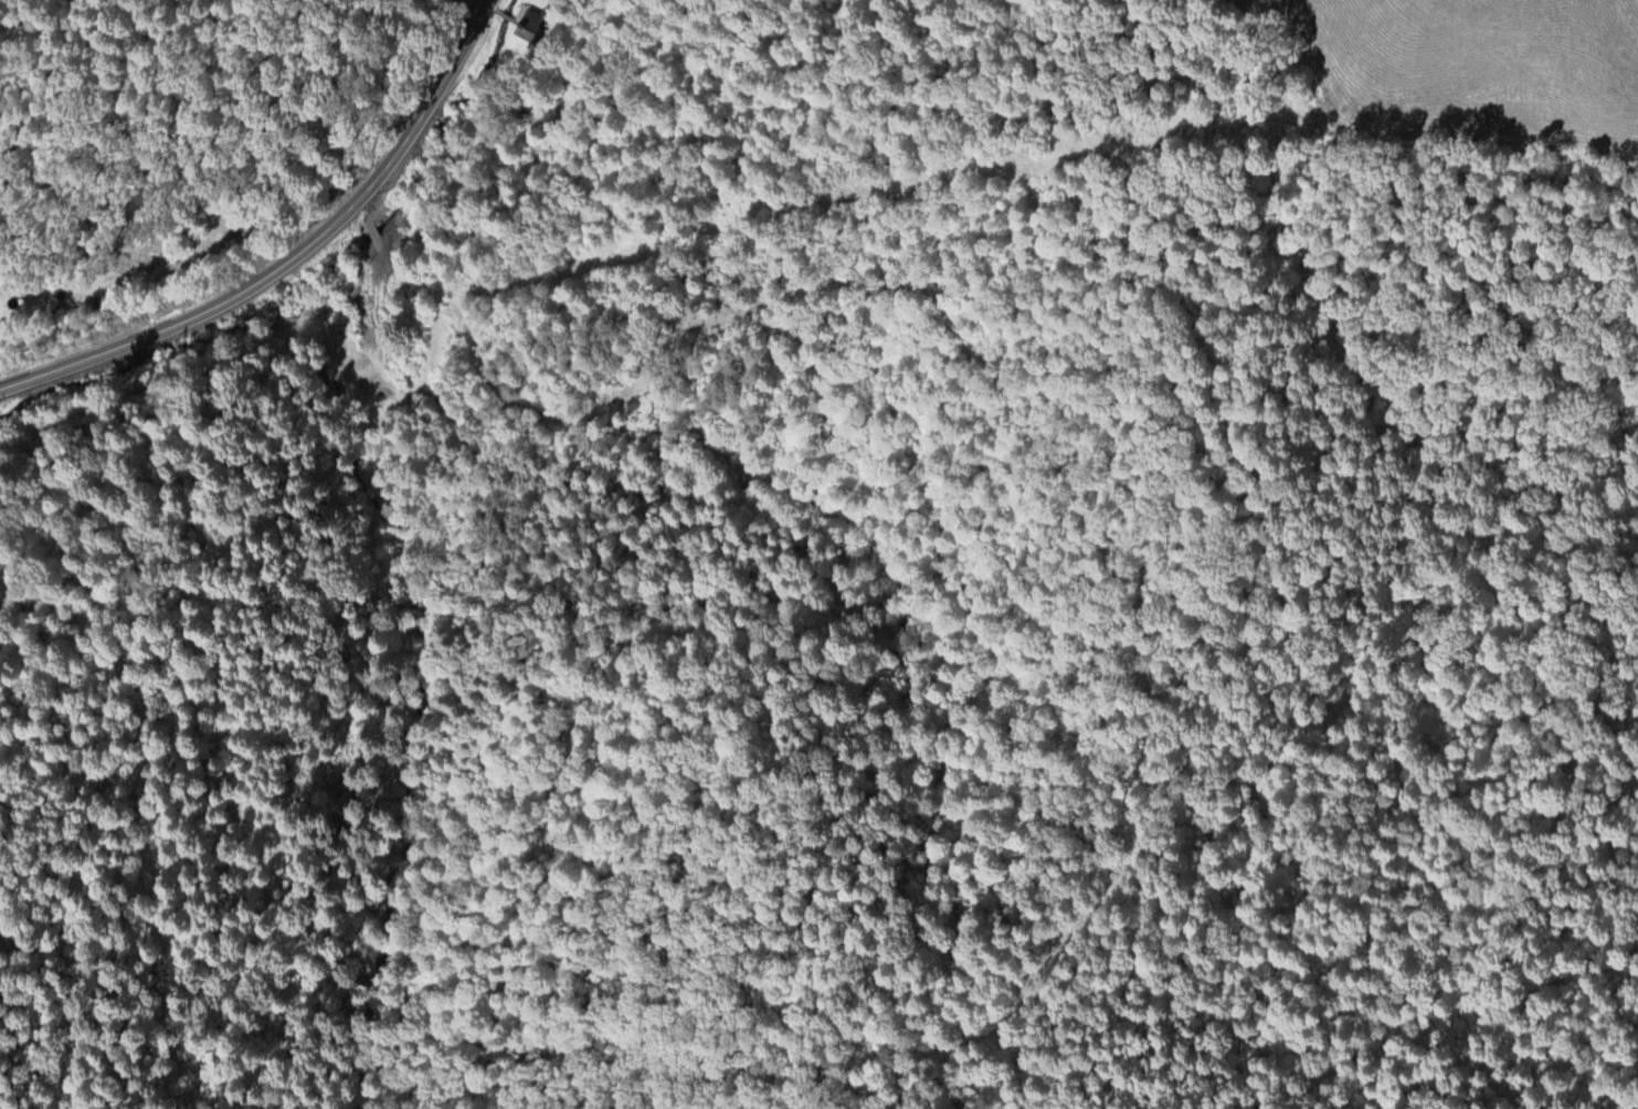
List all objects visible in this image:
parking lot: (468, 19)
building: (528, 28)
road: (1310, 80)
road: (298, 260)
road: (36, 308)
road: (656, 350)
road: (1058, 726)

